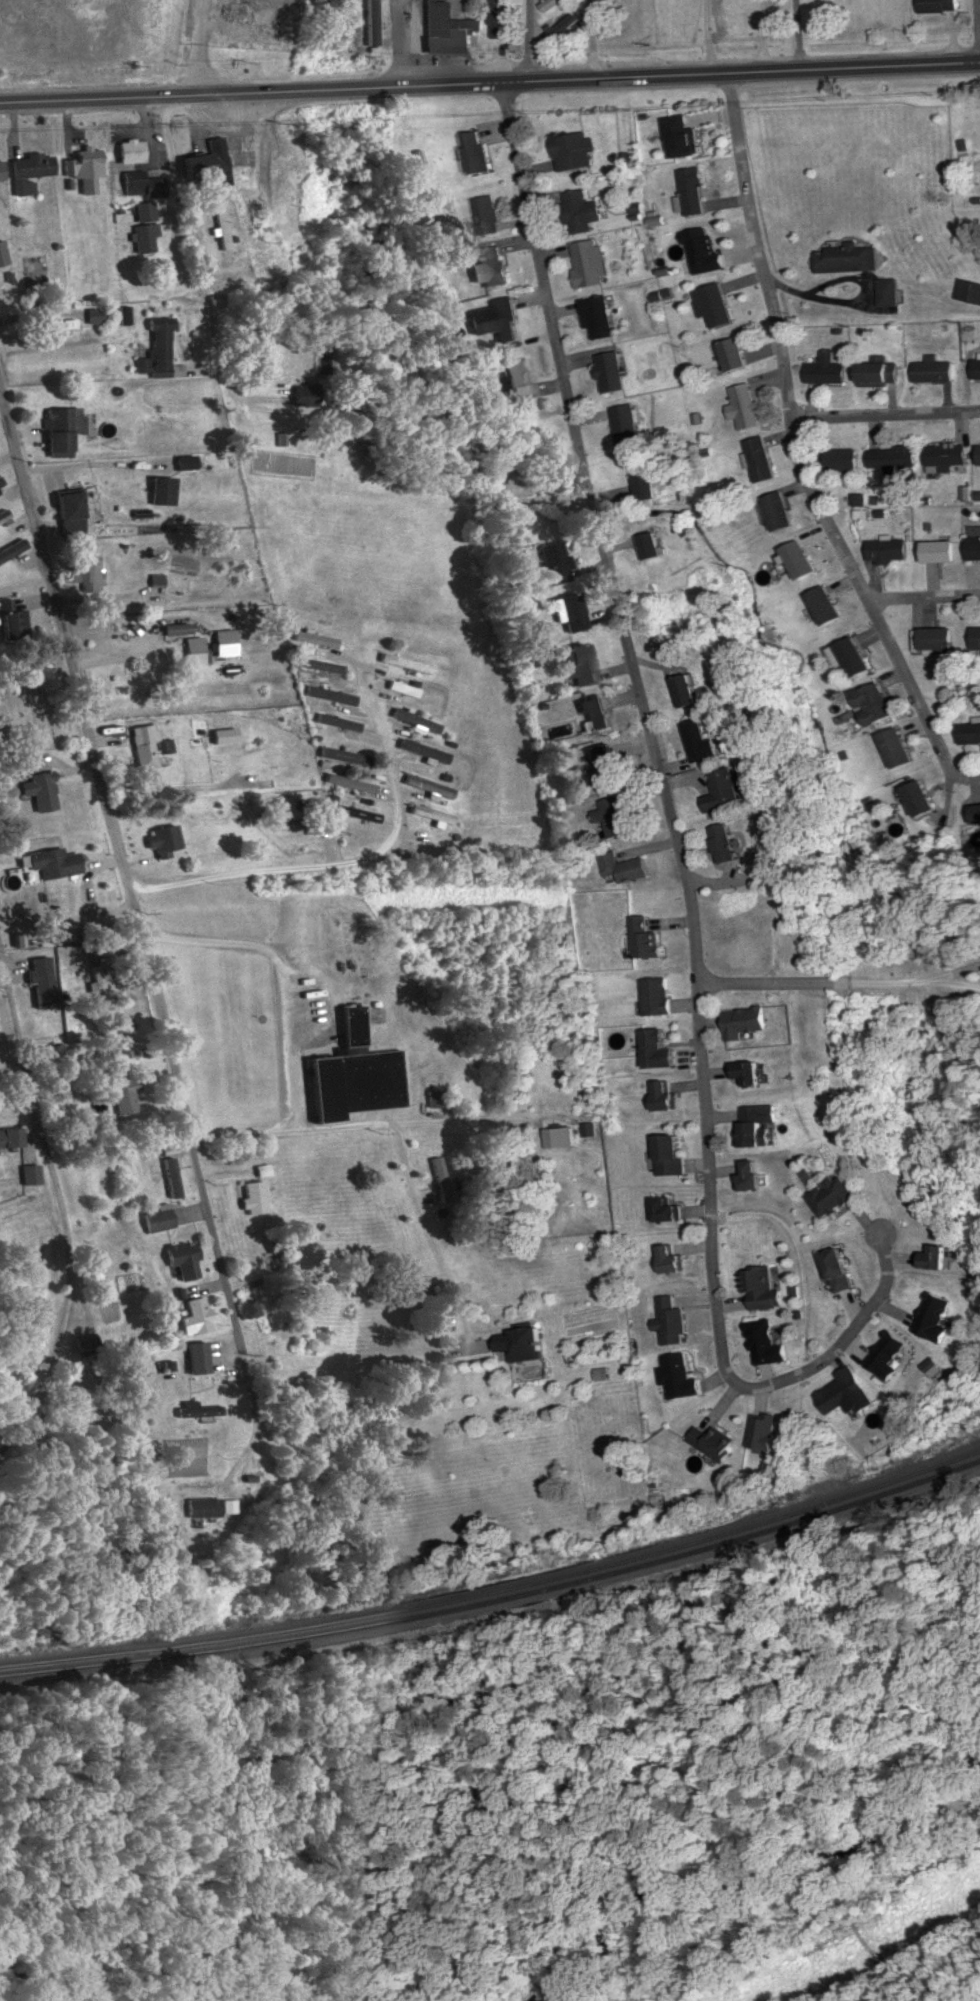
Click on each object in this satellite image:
building: (551, 4)
building: (938, 6)
building: (496, 18)
building: (370, 21)
building: (562, 29)
building: (448, 31)
road: (974, 31)
road: (531, 39)
road: (402, 42)
road: (691, 74)
road: (201, 95)
building: (681, 138)
building: (131, 151)
building: (573, 151)
building: (475, 153)
building: (84, 163)
building: (206, 163)
building: (32, 166)
building: (1, 172)
building: (288, 177)
building: (141, 185)
building: (693, 191)
building: (581, 211)
building: (143, 212)
building: (486, 216)
building: (251, 217)
building: (220, 228)
road: (193, 234)
building: (145, 238)
building: (703, 249)
building: (3, 254)
building: (847, 259)
building: (588, 264)
building: (492, 266)
building: (968, 291)
building: (888, 293)
building: (714, 306)
building: (597, 318)
building: (497, 320)
building: (53, 325)
road: (47, 332)
building: (158, 351)
building: (734, 356)
building: (826, 370)
building: (933, 370)
building: (976, 370)
building: (611, 373)
building: (879, 374)
building: (518, 376)
building: (304, 395)
building: (745, 407)
road: (886, 413)
building: (627, 426)
building: (61, 431)
road: (798, 451)
building: (979, 454)
building: (946, 455)
building: (893, 457)
building: (761, 459)
building: (844, 460)
building: (189, 463)
building: (492, 464)
building: (645, 481)
building: (1, 485)
building: (162, 491)
building: (780, 511)
building: (70, 514)
building: (5, 515)
building: (651, 545)
building: (975, 548)
building: (11, 549)
building: (888, 549)
building: (940, 550)
building: (801, 558)
building: (555, 562)
building: (83, 571)
road: (924, 597)
building: (826, 604)
building: (570, 612)
building: (12, 621)
building: (176, 628)
building: (316, 638)
building: (938, 638)
building: (977, 638)
building: (222, 642)
building: (194, 651)
building: (854, 657)
building: (404, 663)
building: (582, 664)
building: (320, 665)
building: (402, 689)
building: (686, 690)
building: (324, 696)
building: (877, 701)
building: (595, 713)
building: (415, 720)
building: (971, 732)
building: (700, 740)
building: (147, 742)
building: (898, 747)
building: (423, 750)
building: (344, 757)
building: (27, 763)
building: (604, 767)
building: (375, 769)
building: (287, 772)
building: (425, 785)
building: (349, 788)
building: (726, 789)
building: (40, 790)
building: (922, 798)
building: (357, 813)
building: (977, 813)
building: (431, 814)
building: (615, 815)
building: (297, 824)
building: (163, 840)
building: (723, 842)
road: (678, 848)
building: (53, 863)
road: (335, 867)
building: (625, 867)
road: (125, 877)
building: (647, 938)
road: (839, 982)
building: (657, 996)
road: (287, 1021)
building: (745, 1022)
building: (661, 1049)
road: (23, 1068)
building: (748, 1072)
building: (356, 1074)
building: (124, 1089)
building: (667, 1096)
building: (436, 1098)
road: (419, 1122)
building: (753, 1128)
building: (560, 1137)
building: (10, 1138)
building: (670, 1156)
building: (29, 1175)
building: (750, 1176)
building: (439, 1180)
building: (833, 1196)
building: (253, 1198)
building: (665, 1210)
building: (157, 1220)
building: (278, 1244)
building: (935, 1257)
building: (183, 1260)
building: (838, 1270)
building: (760, 1287)
building: (195, 1316)
building: (935, 1317)
building: (672, 1321)
building: (765, 1343)
building: (524, 1345)
building: (886, 1355)
building: (197, 1358)
building: (680, 1377)
building: (842, 1391)
building: (196, 1410)
building: (713, 1442)
building: (202, 1507)
building: (228, 1507)
railway: (497, 1589)
railway: (497, 1598)
river: (754, 1878)
river: (156, 1967)

